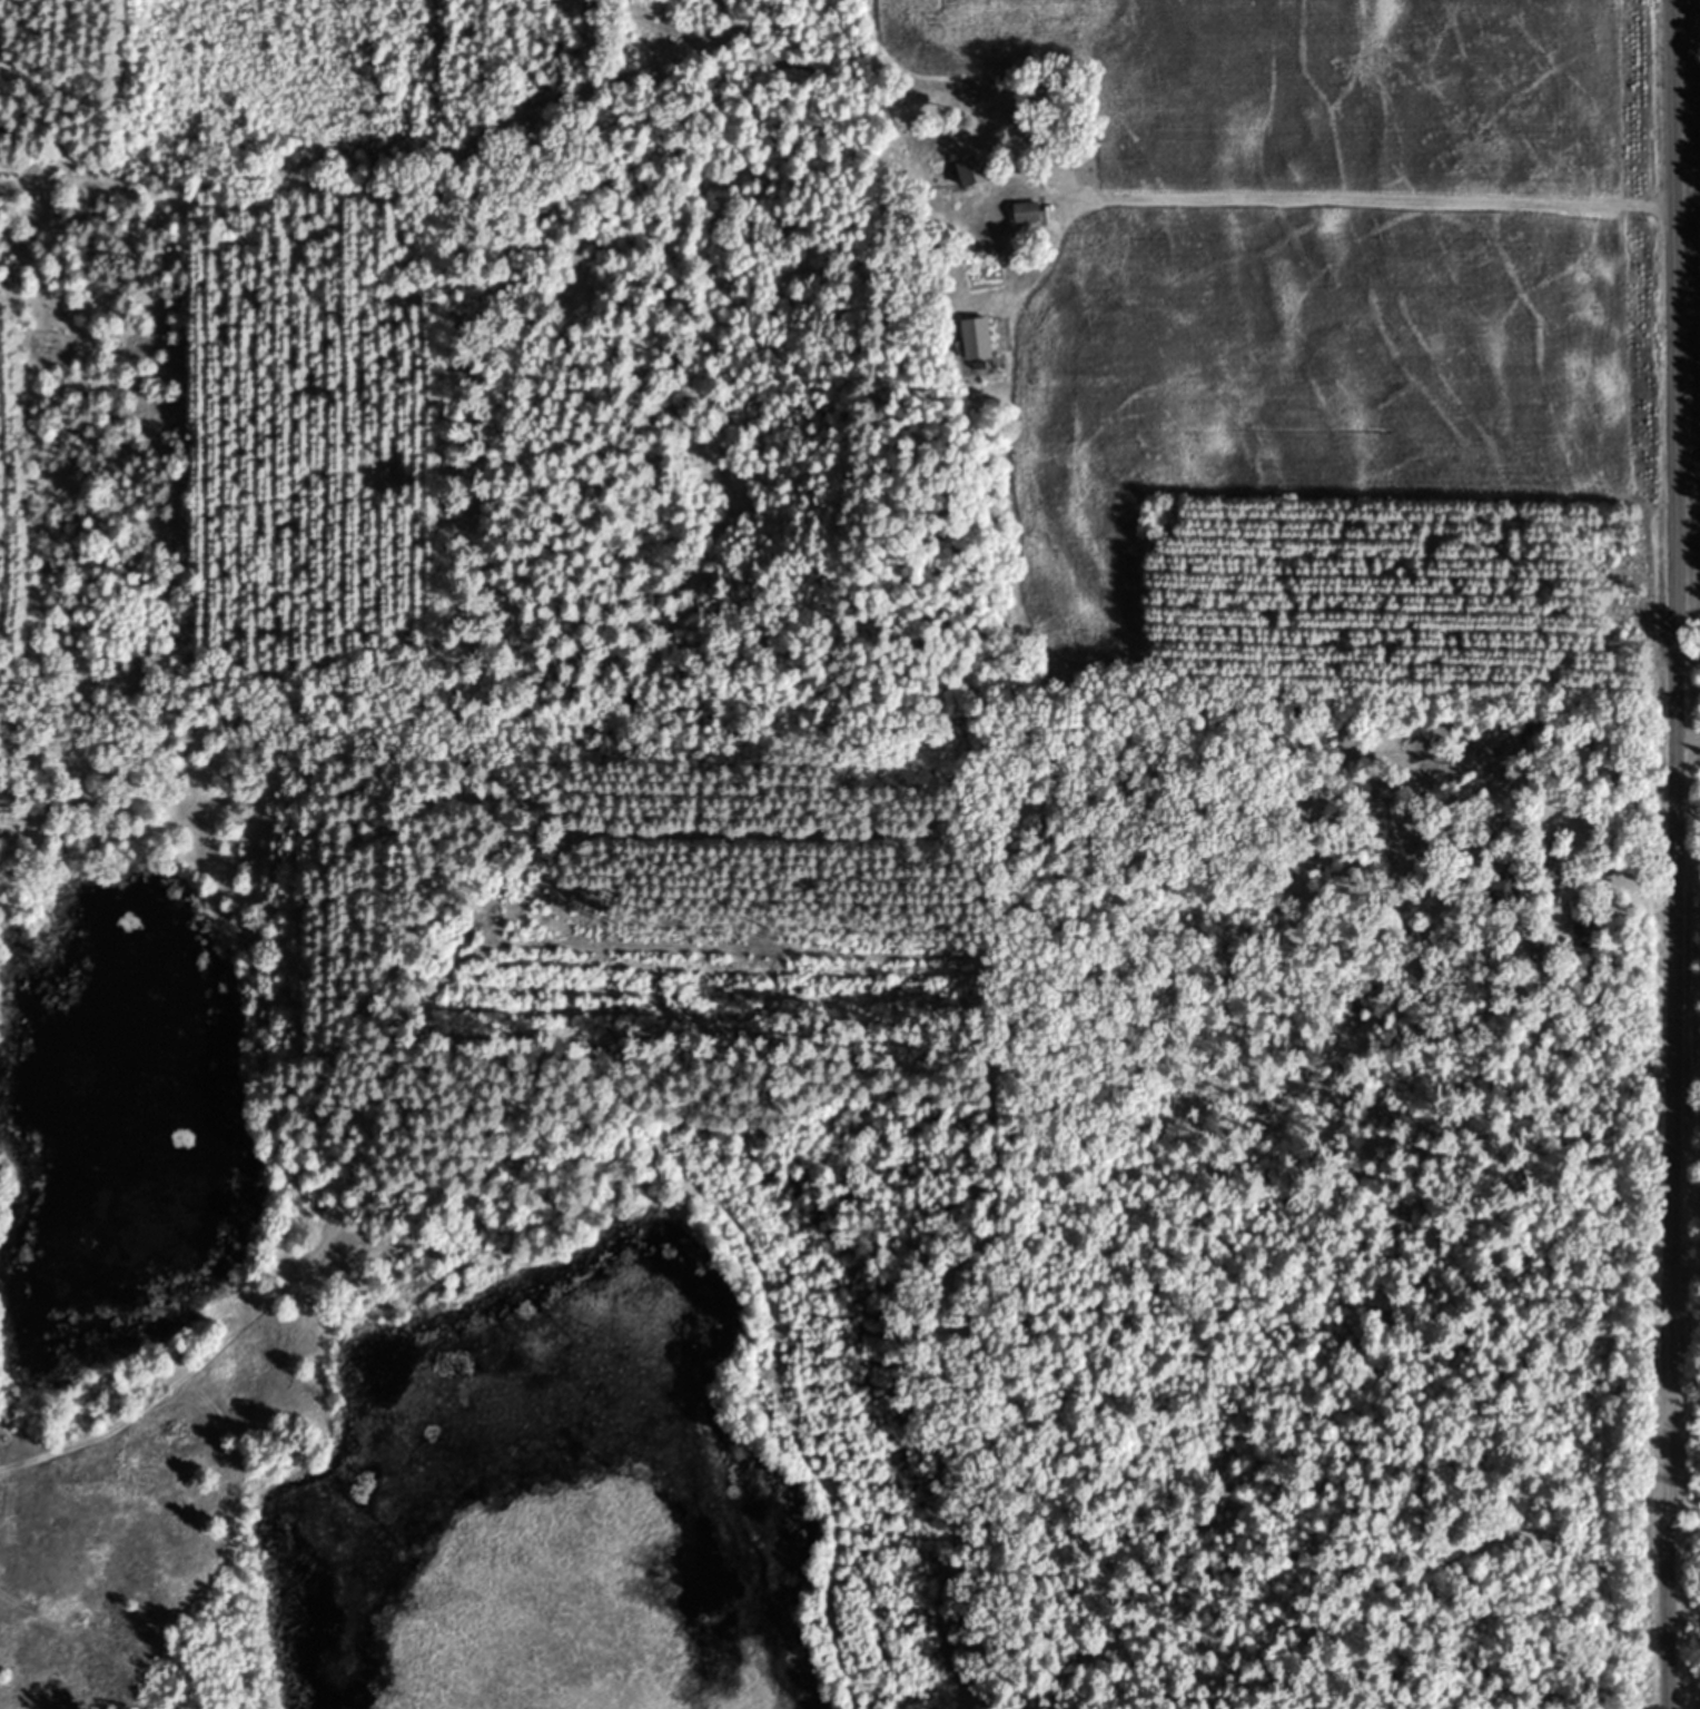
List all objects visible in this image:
building: (971, 170)
road: (1363, 195)
building: (1025, 213)
building: (1521, 727)
road: (1671, 854)
building: (1502, 879)
road: (1462, 1581)

